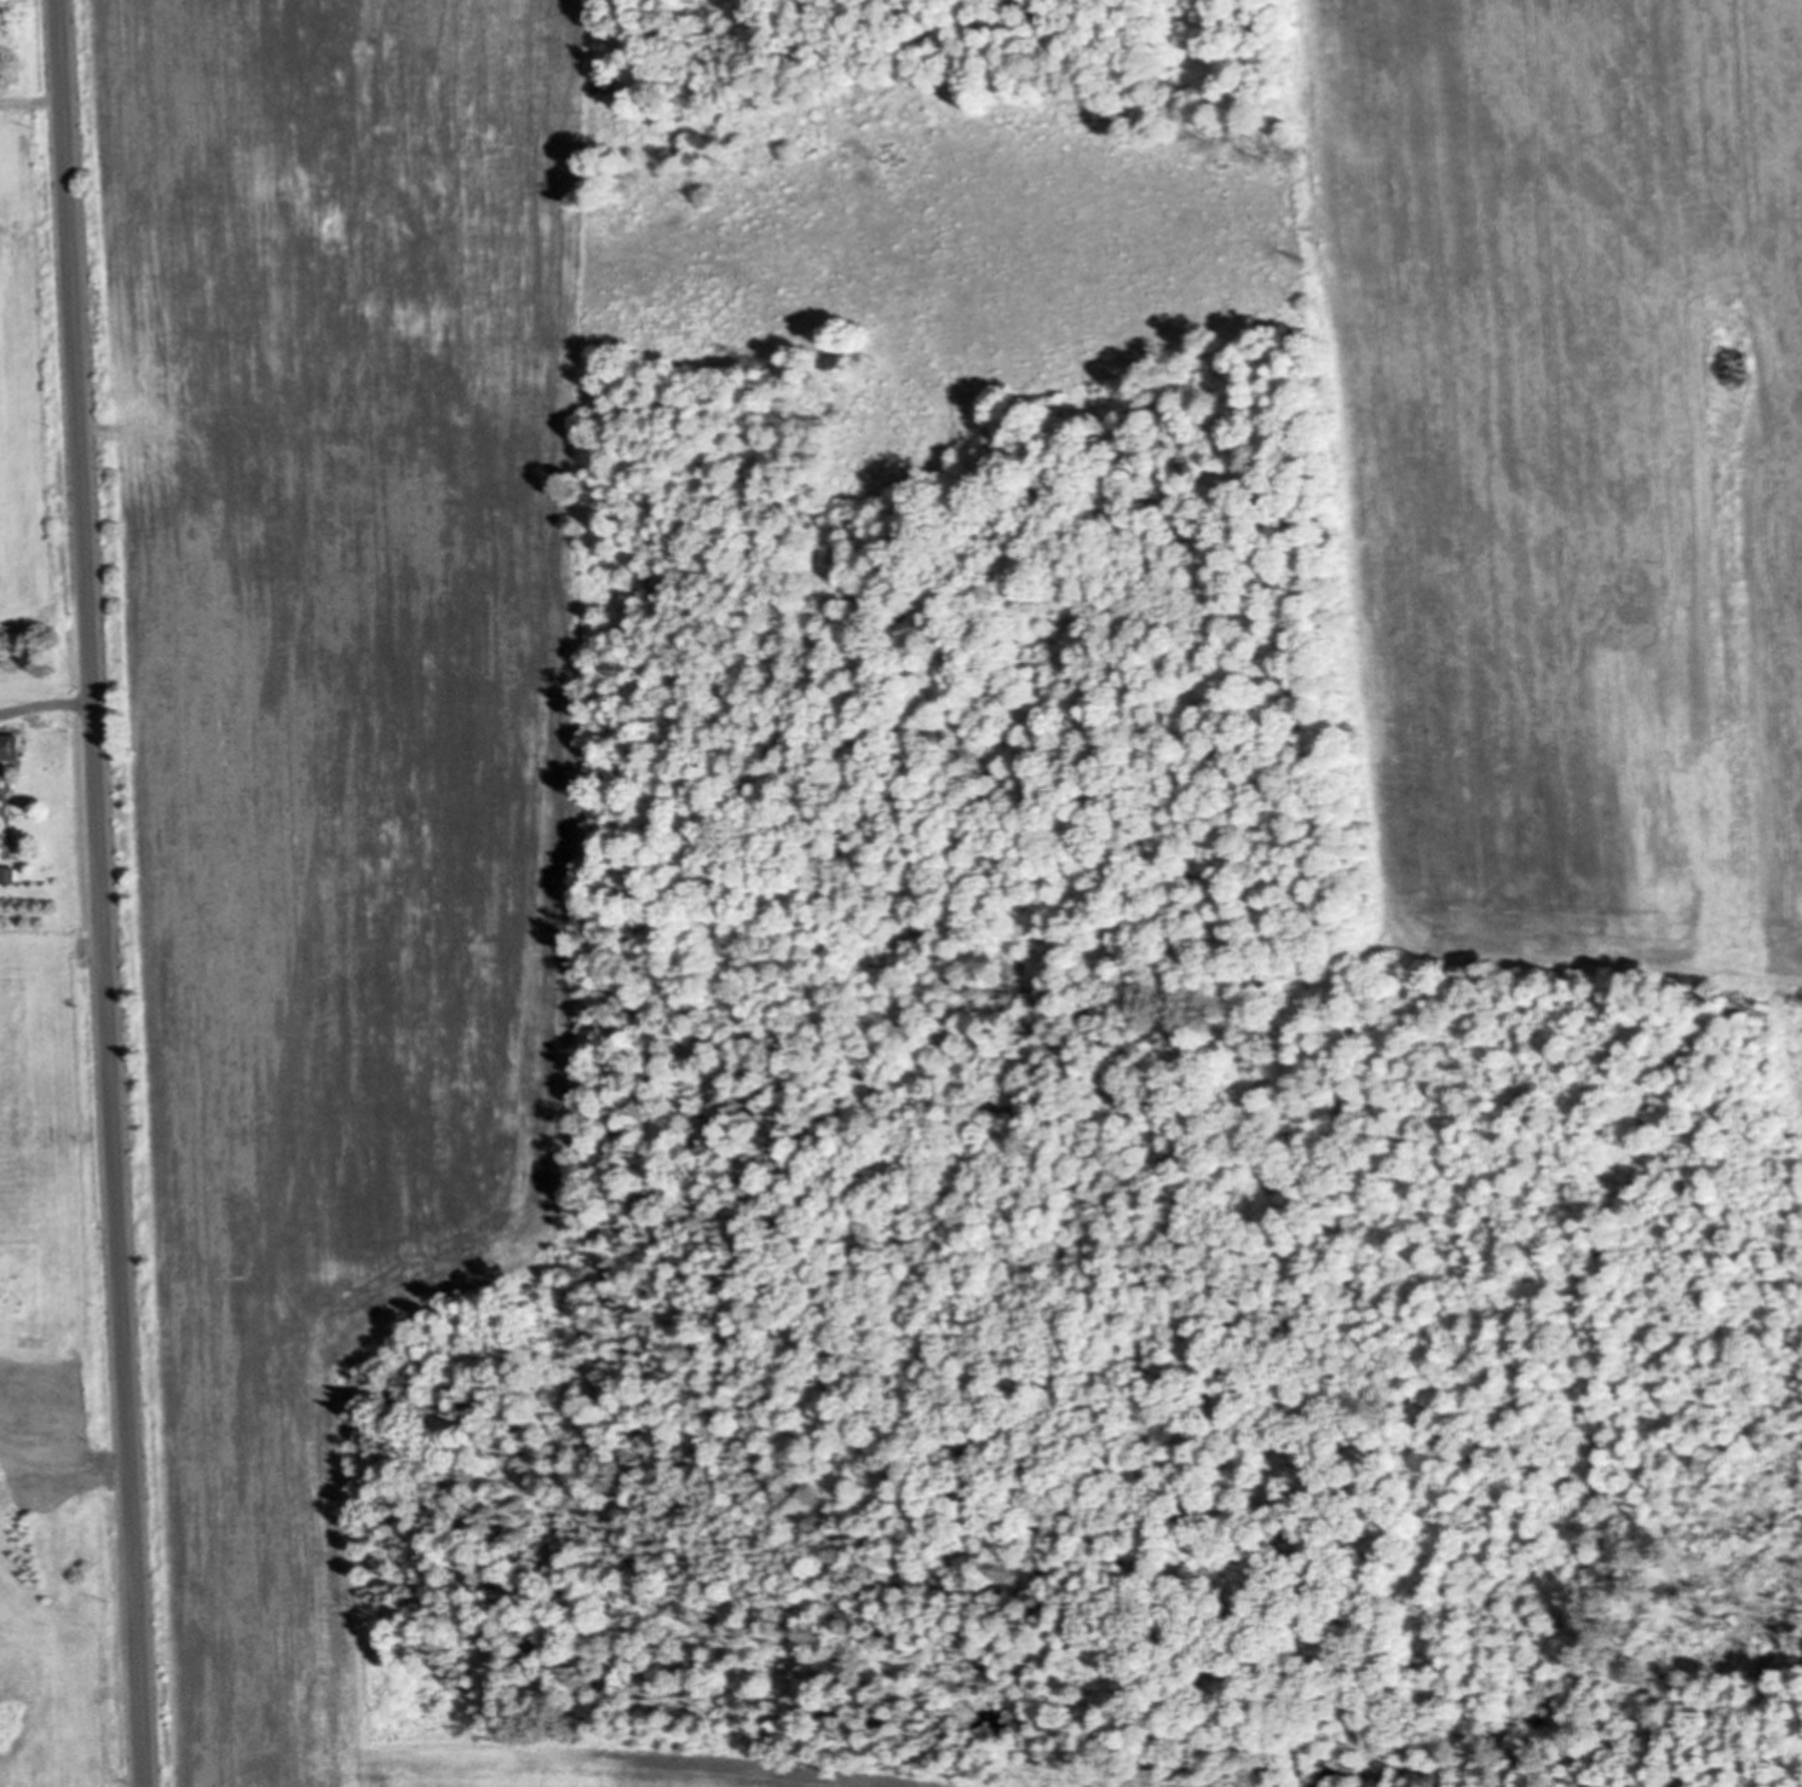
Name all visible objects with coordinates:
road: (45, 705)
building: (11, 748)
road: (100, 893)

